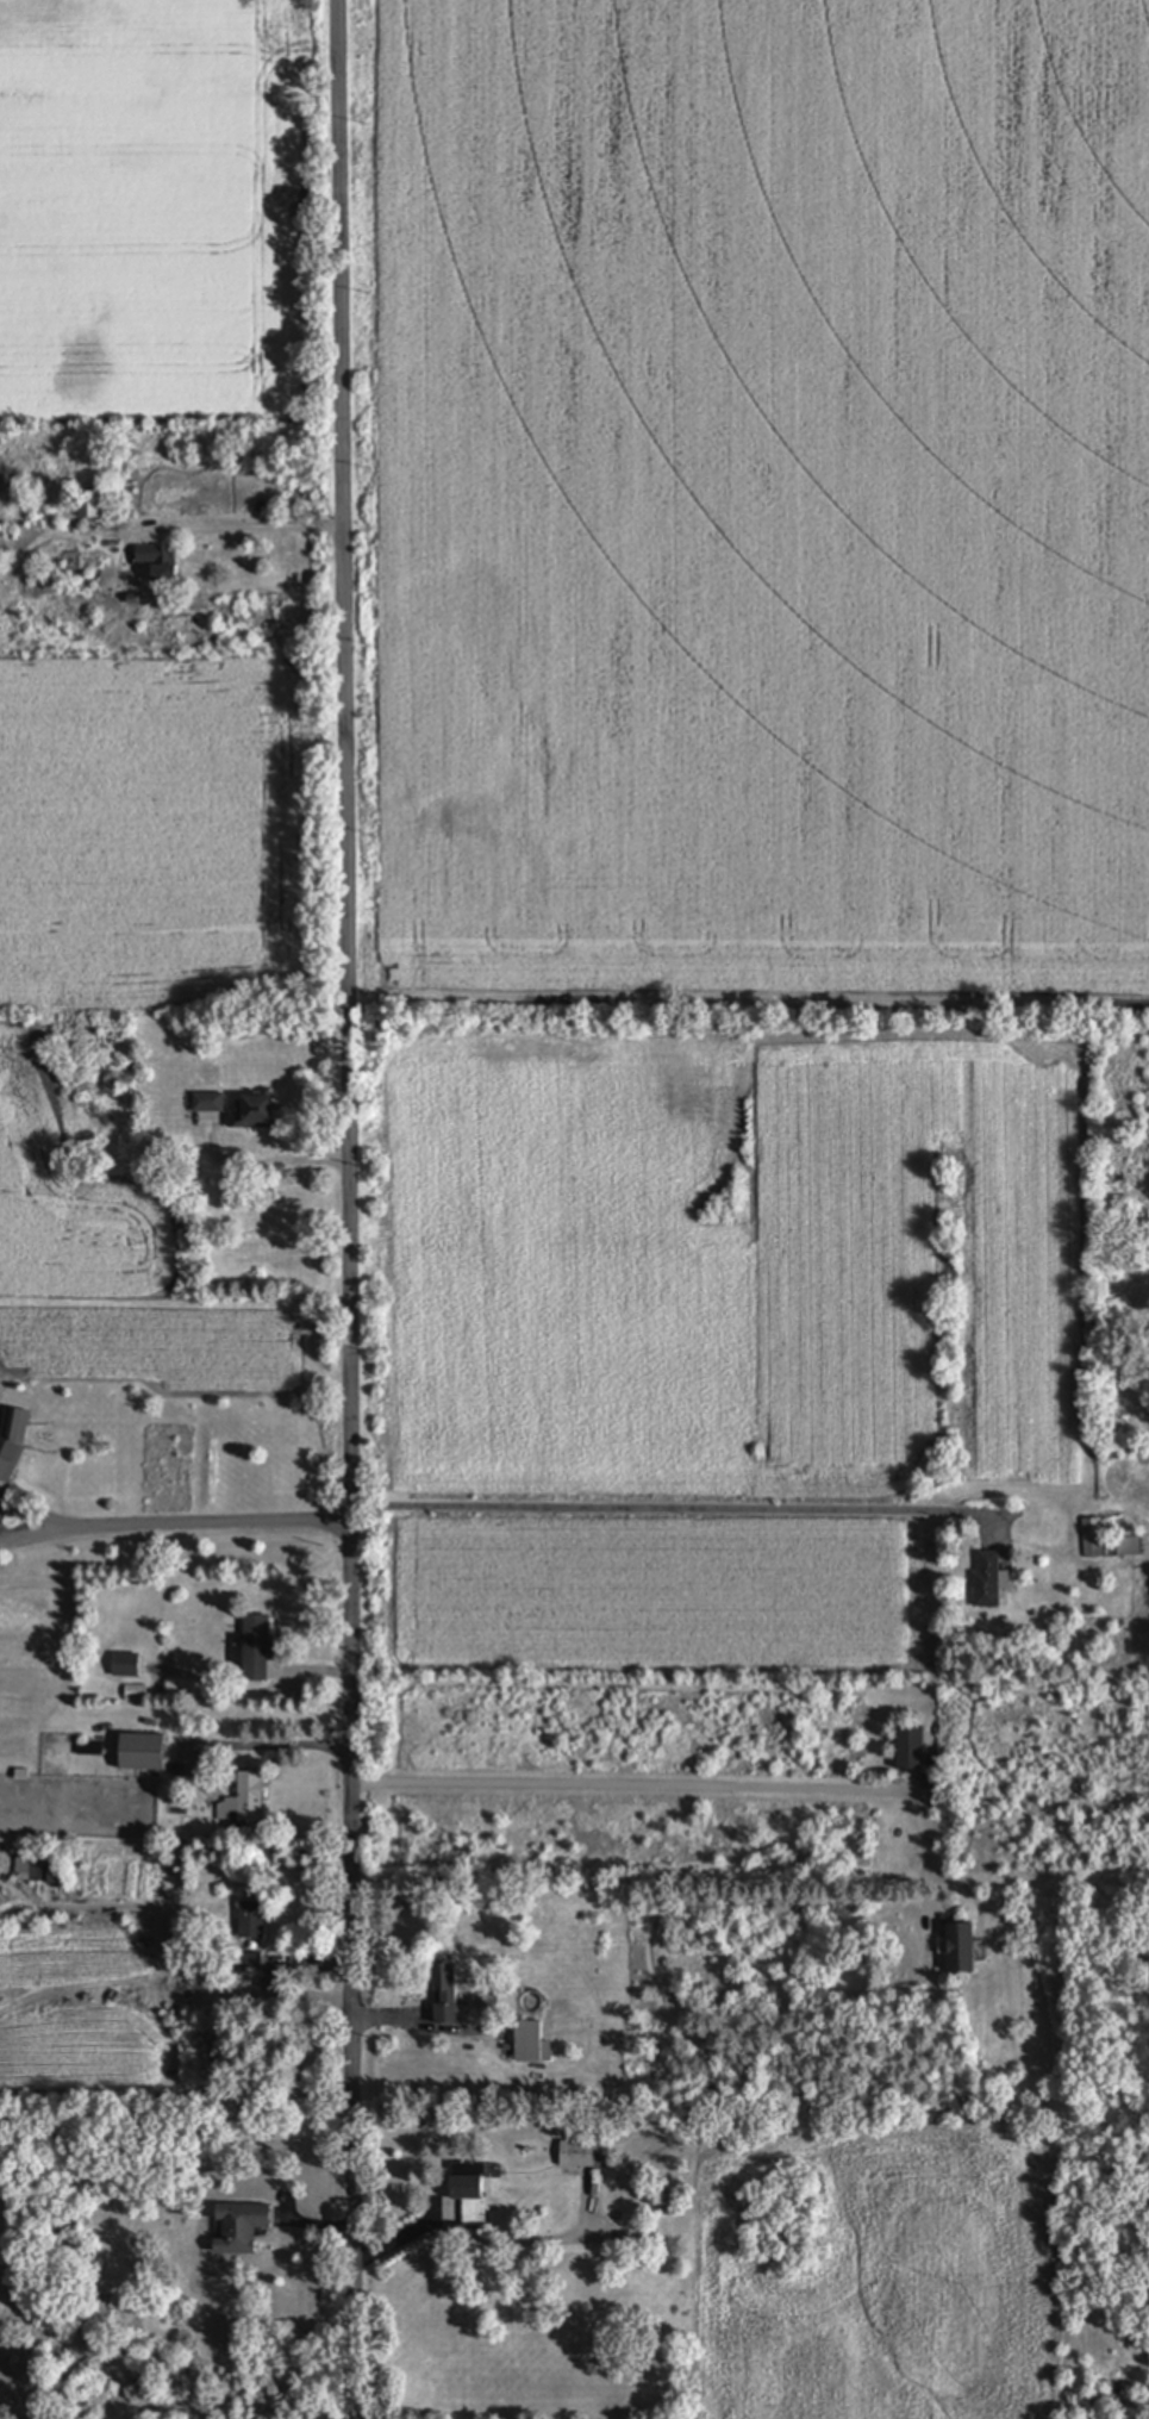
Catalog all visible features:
building: (89, 505)
road: (232, 528)
building: (160, 563)
building: (210, 1104)
building: (252, 1115)
road: (280, 1165)
road: (345, 1209)
building: (11, 1444)
road: (666, 1510)
road: (173, 1527)
building: (1107, 1545)
building: (988, 1582)
building: (256, 1650)
building: (126, 1666)
road: (269, 1746)
building: (911, 1748)
building: (142, 1753)
road: (683, 1789)
building: (249, 1797)
building: (23, 1864)
building: (55, 1869)
building: (252, 1920)
building: (961, 1949)
building: (448, 1996)
building: (533, 2043)
building: (581, 2155)
building: (470, 2193)
building: (241, 2228)

